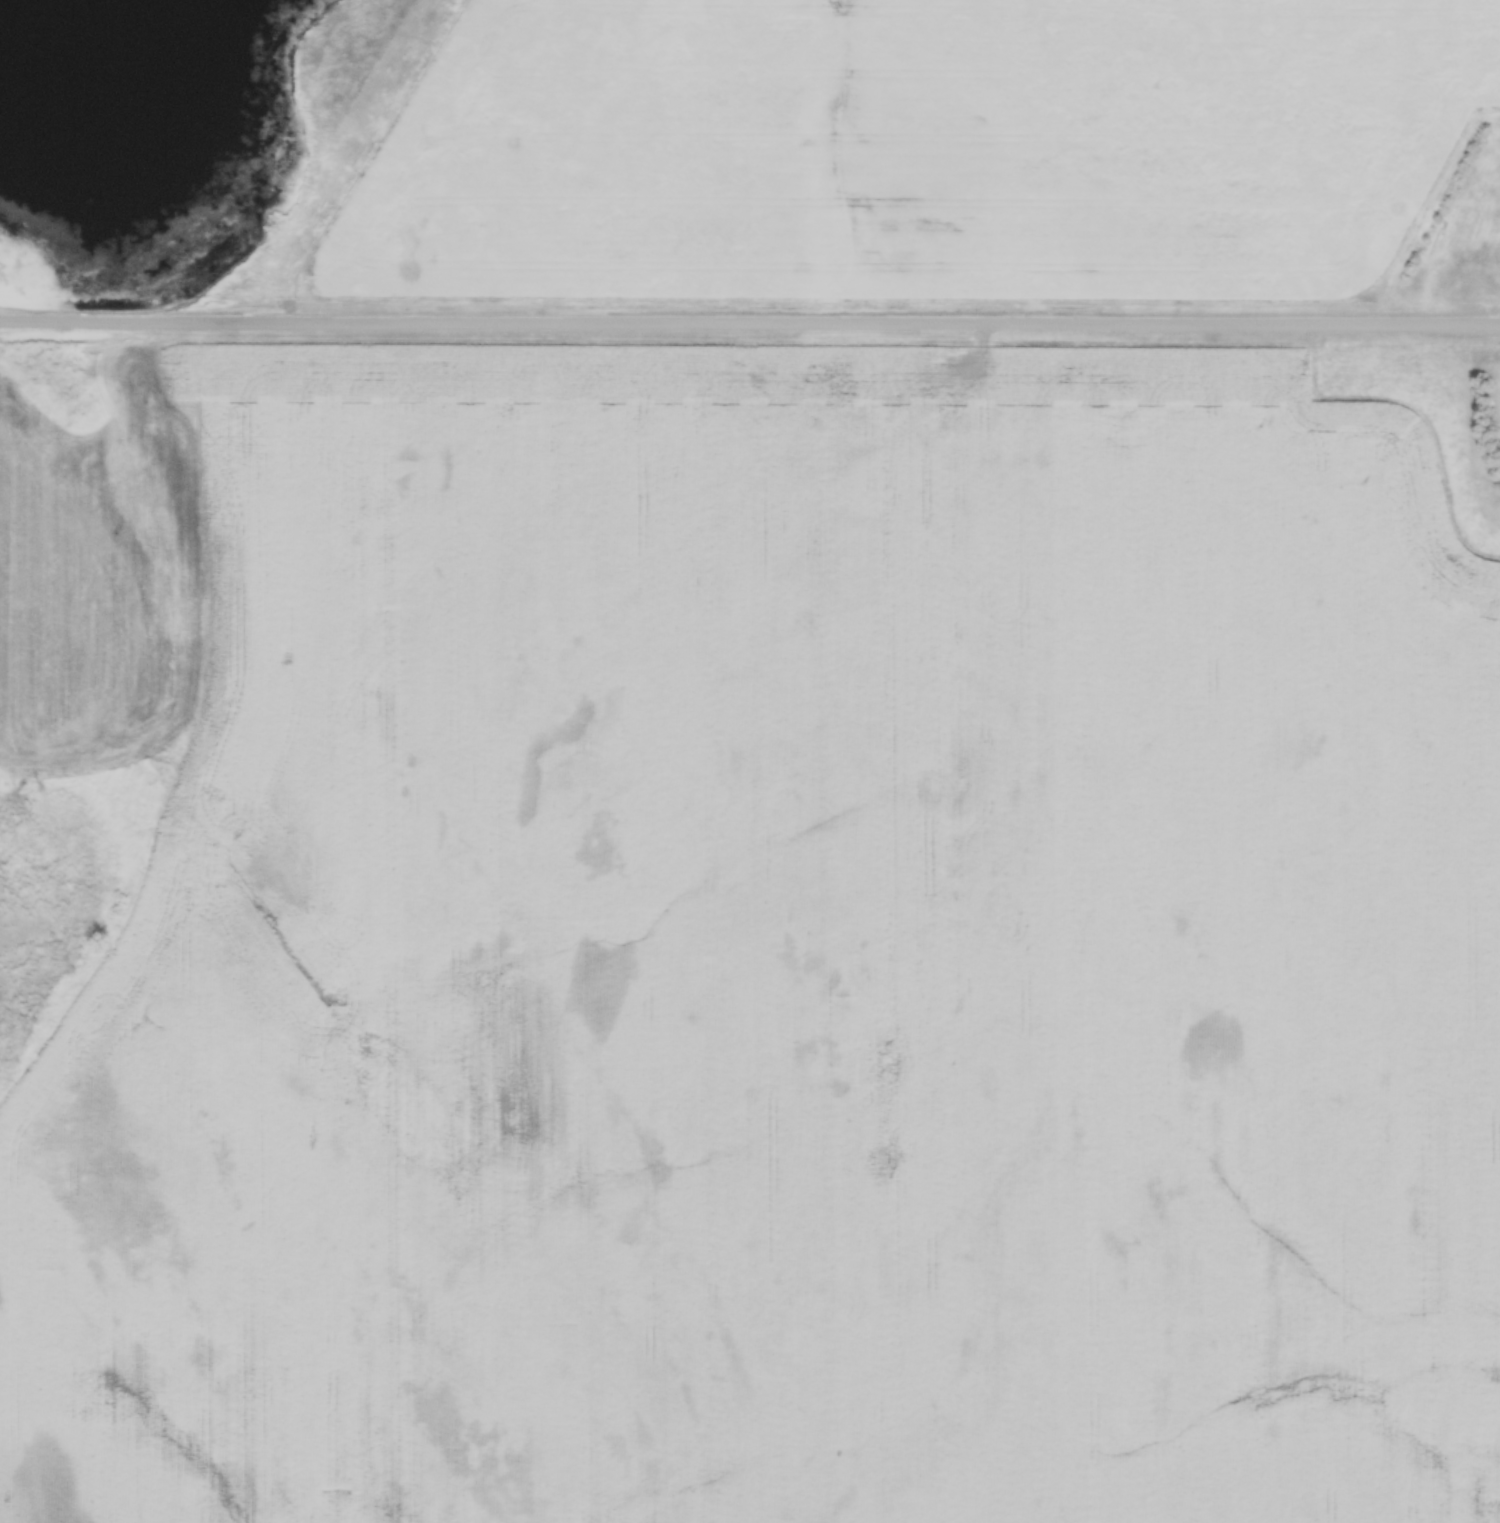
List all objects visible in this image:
road: (750, 326)

